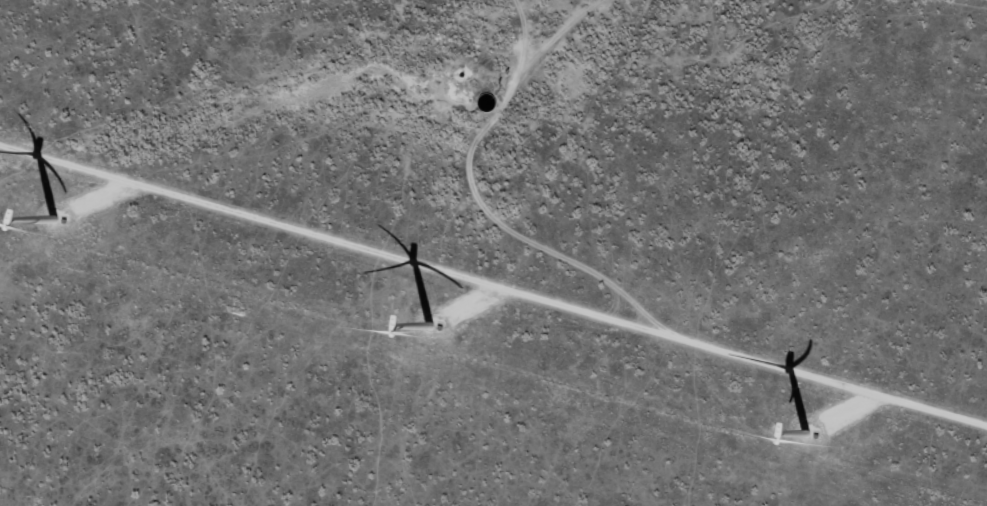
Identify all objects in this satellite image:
road: (544, 26)
wind turbine: (91, 217)
road: (644, 301)
wind turbine: (465, 332)
wind turbine: (805, 429)

